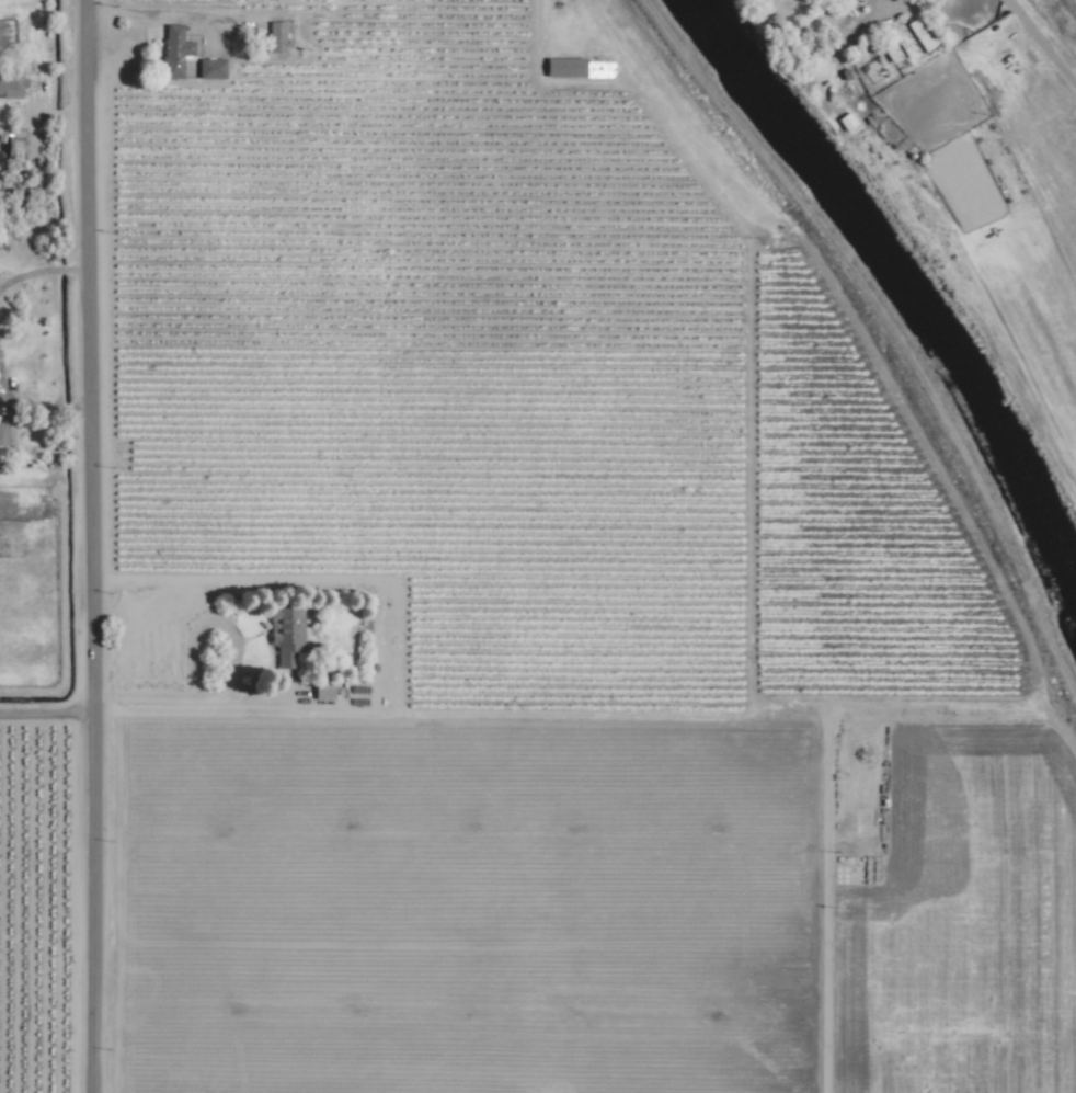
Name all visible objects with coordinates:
building: (856, 0)
road: (175, 12)
building: (923, 36)
building: (277, 37)
road: (1040, 45)
building: (176, 52)
building: (892, 52)
building: (581, 68)
building: (213, 69)
building: (12, 84)
building: (847, 123)
crop: (993, 201)
road: (59, 270)
road: (80, 270)
road: (24, 275)
road: (21, 406)
road: (62, 409)
road: (82, 409)
building: (3, 437)
road: (93, 546)
building: (288, 631)
road: (231, 678)
building: (325, 690)
road: (47, 713)
crop: (46, 899)

